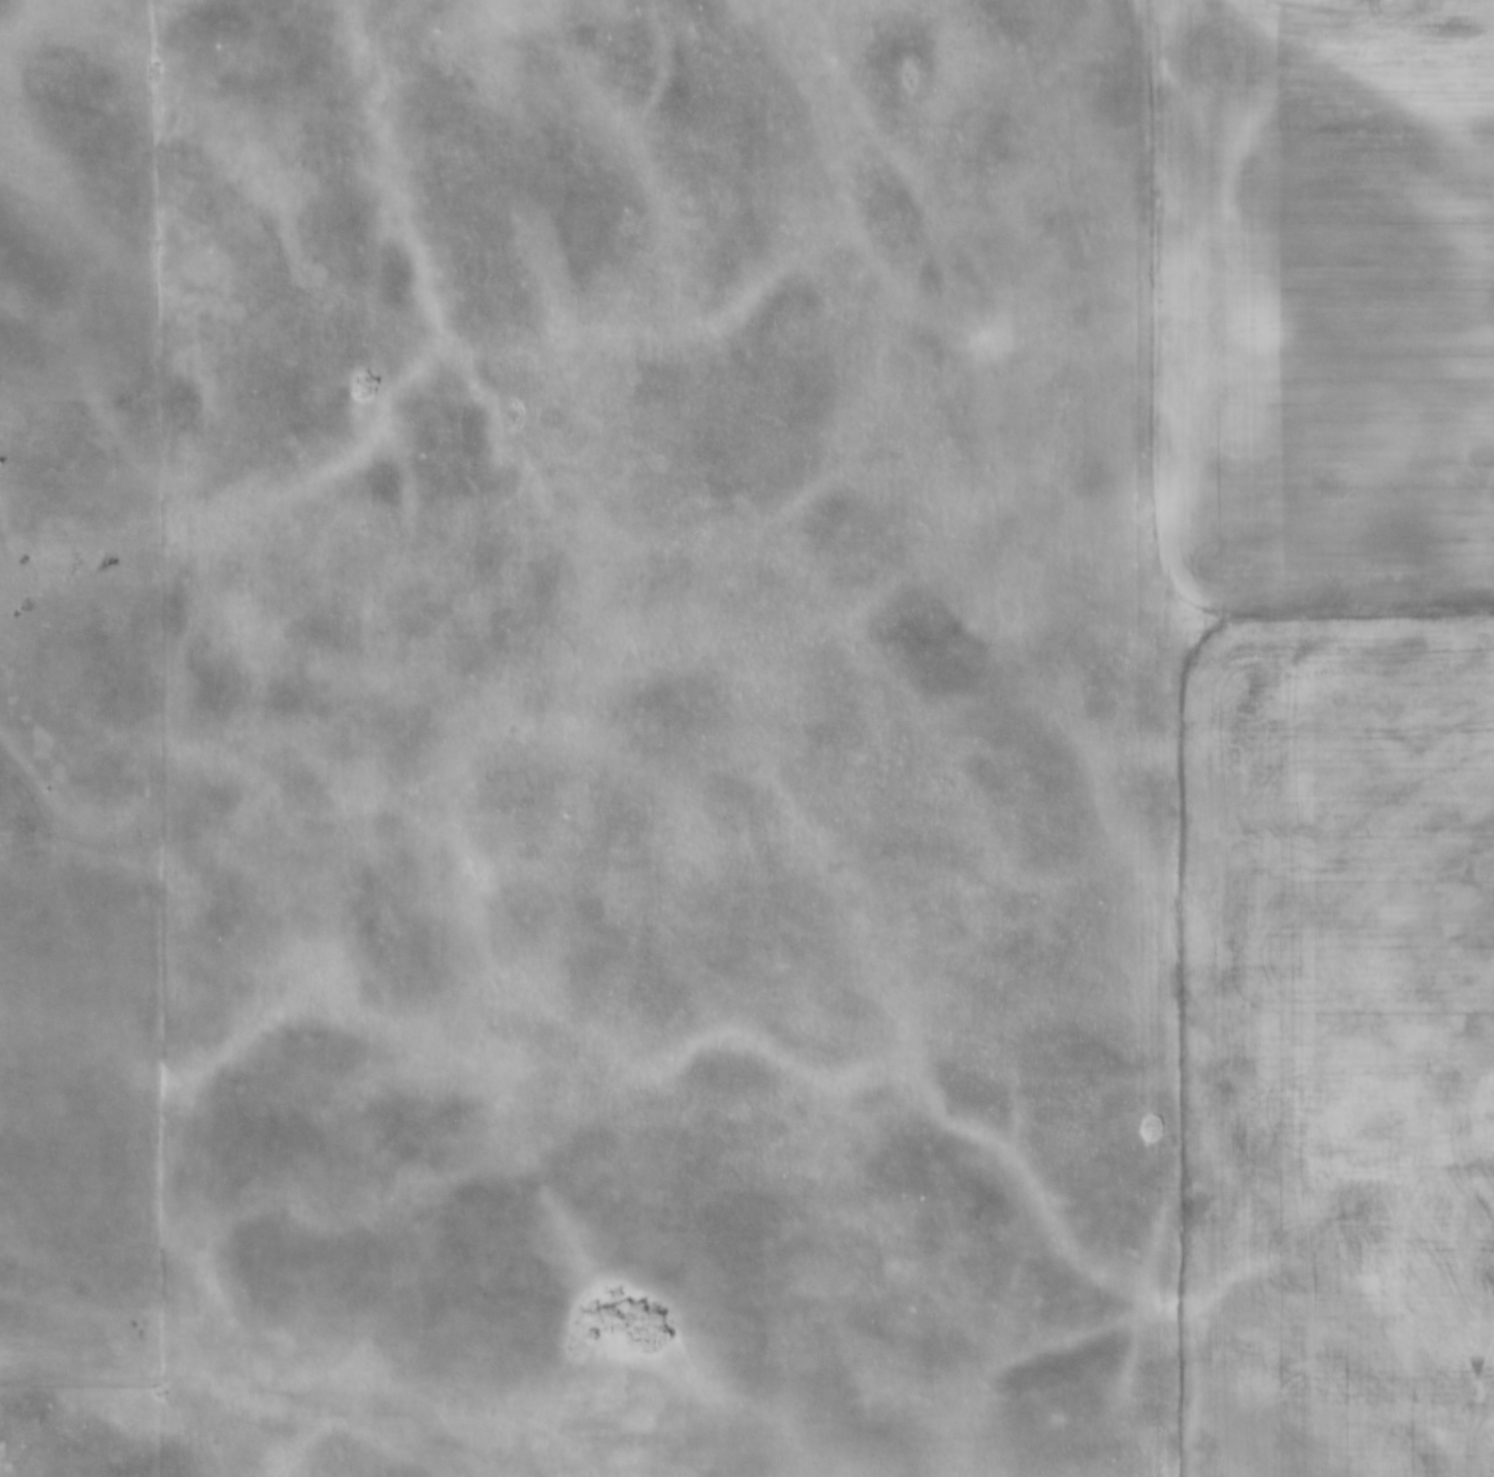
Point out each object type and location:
road: (1167, 738)

